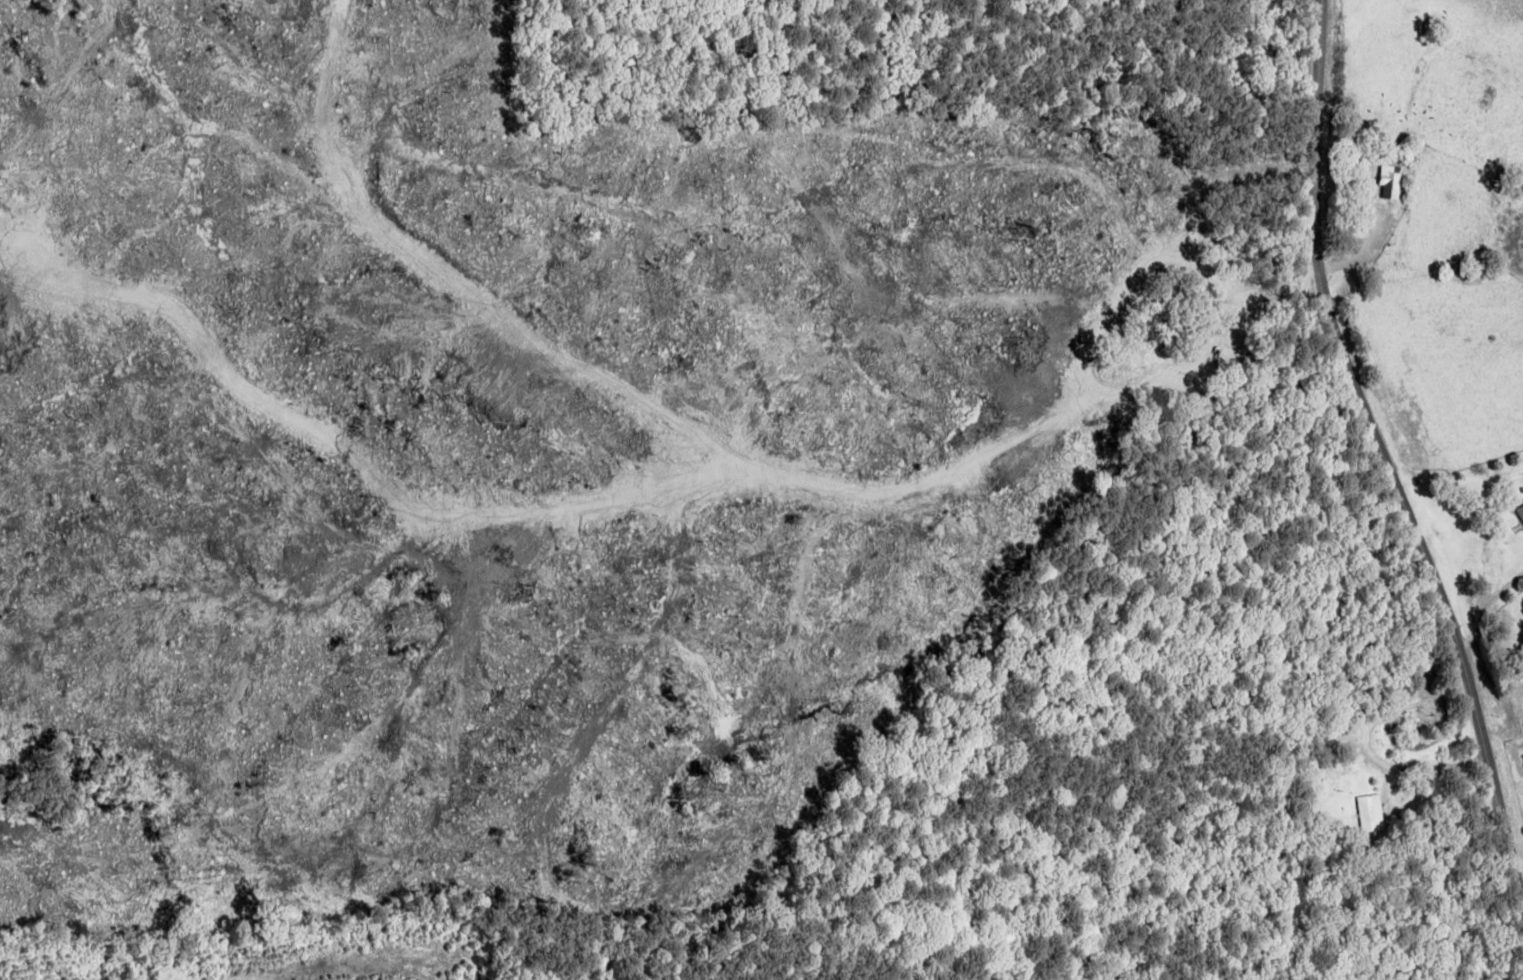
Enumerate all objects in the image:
building: (1390, 180)
road: (1360, 451)
building: (1520, 512)
building: (1370, 811)

